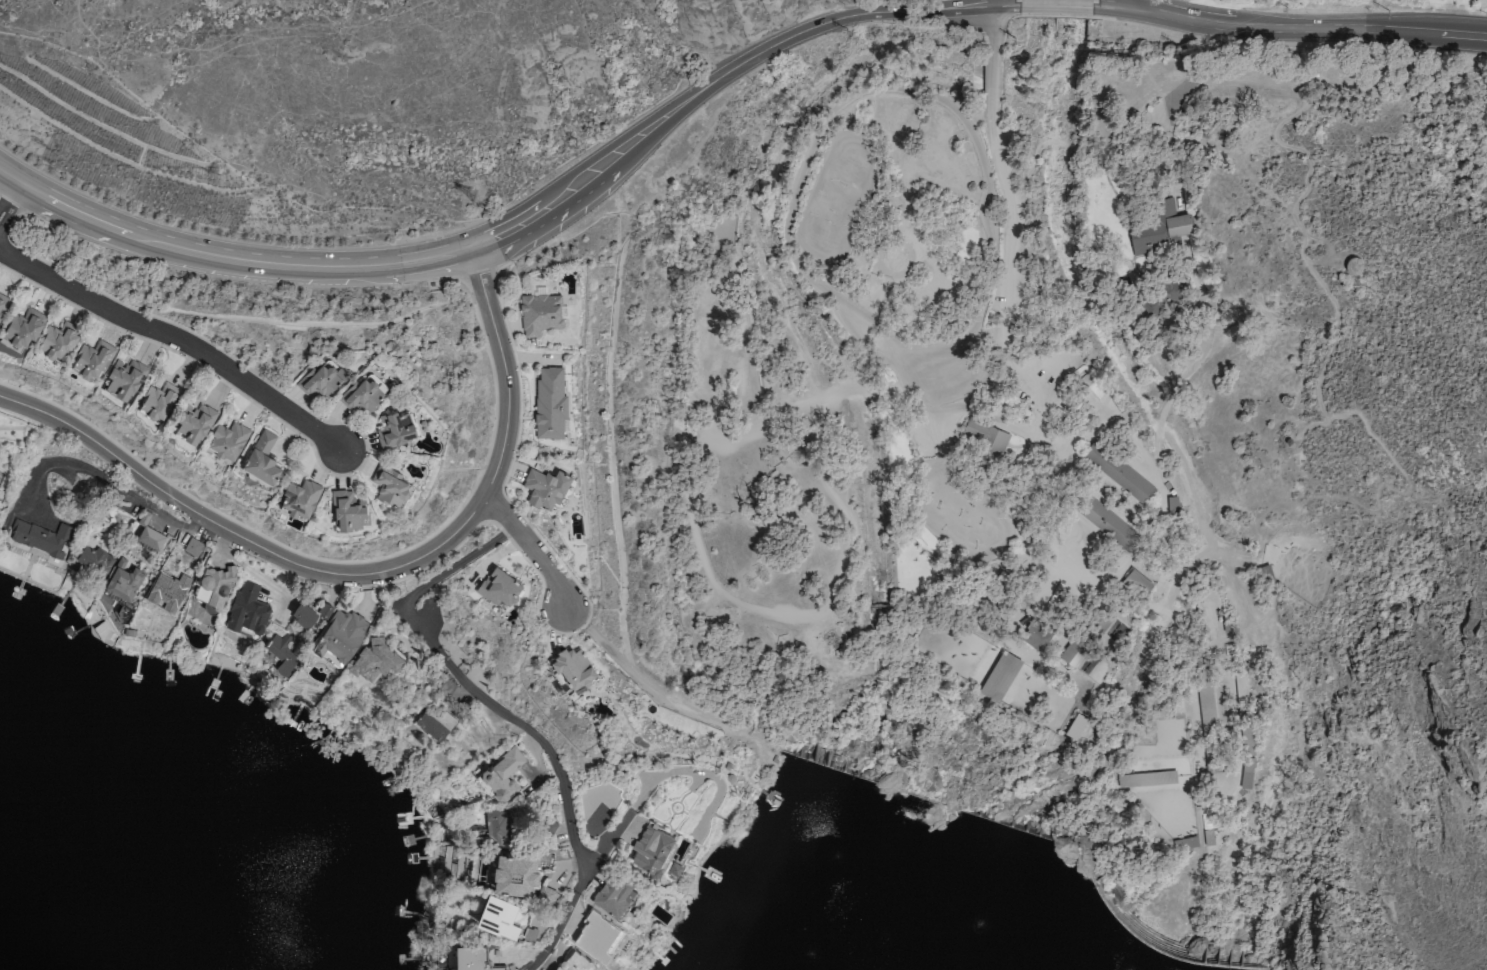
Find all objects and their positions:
road: (1055, 1)
road: (977, 2)
road: (1136, 4)
road: (1114, 5)
road: (840, 19)
road: (1311, 21)
road: (993, 31)
road: (1210, 32)
road: (1388, 38)
road: (993, 78)
road: (578, 174)
power tower: (474, 196)
road: (14, 197)
building: (1161, 227)
road: (1008, 249)
road: (225, 251)
road: (358, 274)
building: (1161, 297)
building: (2, 301)
building: (539, 312)
building: (22, 325)
road: (179, 338)
building: (58, 339)
building: (93, 357)
building: (125, 376)
building: (320, 377)
building: (363, 391)
building: (158, 398)
building: (549, 402)
building: (194, 419)
building: (394, 426)
building: (984, 435)
building: (227, 438)
building: (261, 456)
road: (49, 464)
building: (1118, 471)
building: (390, 482)
building: (544, 487)
building: (299, 495)
building: (1173, 504)
building: (347, 507)
road: (150, 508)
building: (1106, 522)
building: (41, 538)
building: (149, 538)
building: (193, 545)
road: (538, 551)
building: (94, 560)
road: (369, 575)
building: (214, 581)
building: (1136, 582)
building: (121, 583)
building: (498, 587)
building: (167, 589)
building: (322, 608)
building: (246, 611)
building: (303, 613)
building: (341, 631)
building: (281, 651)
building: (374, 655)
building: (572, 667)
building: (999, 676)
building: (1240, 685)
road: (508, 712)
building: (430, 721)
dam: (826, 765)
building: (501, 768)
building: (1246, 773)
building: (1146, 779)
road: (649, 794)
dam: (926, 798)
building: (492, 823)
dam: (1007, 824)
building: (652, 845)
building: (514, 865)
building: (613, 886)
building: (497, 908)
road: (557, 919)
dam: (1152, 946)
building: (570, 957)

